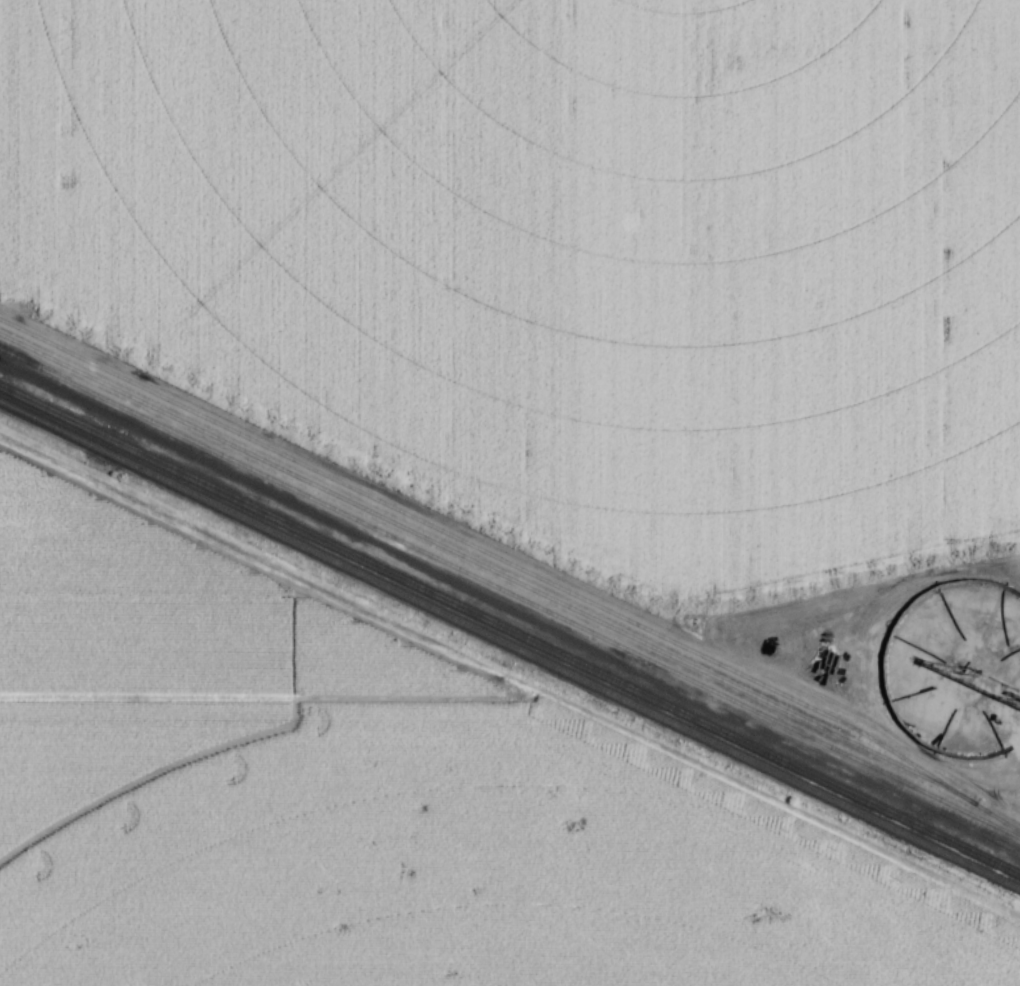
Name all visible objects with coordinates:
railway: (510, 590)
railway: (510, 630)
railway: (509, 645)

